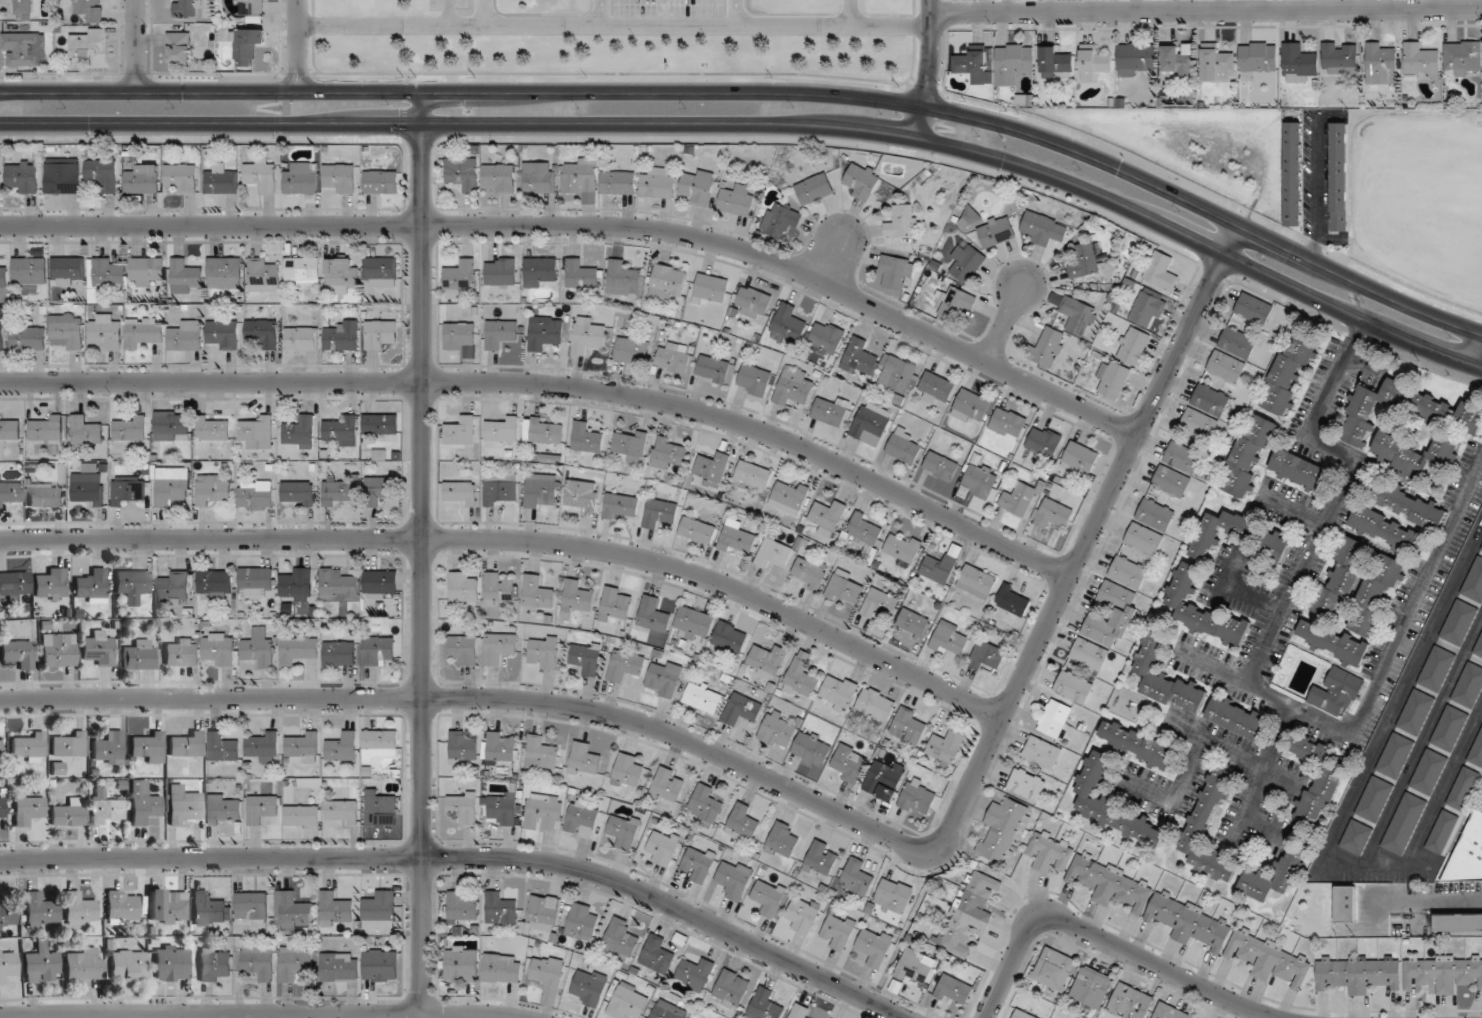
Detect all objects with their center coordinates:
building: (251, 7)
building: (186, 8)
building: (89, 10)
road: (1207, 10)
road: (447, 13)
road: (484, 13)
road: (600, 13)
road: (737, 13)
road: (851, 13)
road: (614, 26)
building: (86, 43)
road: (135, 45)
building: (246, 45)
road: (297, 46)
building: (179, 47)
building: (22, 48)
building: (1258, 56)
building: (1340, 57)
building: (1462, 57)
building: (1137, 59)
building: (1420, 60)
building: (1094, 61)
building: (1055, 62)
building: (1217, 62)
building: (1013, 63)
building: (1298, 63)
building: (976, 64)
building: (1178, 64)
building: (1381, 64)
road: (928, 69)
road: (764, 92)
building: (1025, 99)
road: (764, 125)
building: (1294, 166)
building: (463, 174)
building: (103, 175)
building: (261, 175)
building: (24, 176)
building: (63, 176)
building: (581, 176)
building: (181, 177)
building: (340, 177)
building: (500, 177)
building: (539, 177)
building: (1339, 177)
building: (143, 179)
building: (0, 180)
building: (221, 181)
building: (861, 181)
building: (381, 182)
building: (618, 183)
building: (659, 183)
building: (697, 189)
building: (814, 189)
road: (1316, 189)
road: (598, 193)
building: (737, 201)
building: (781, 219)
building: (902, 222)
road: (589, 225)
building: (1039, 227)
building: (997, 232)
road: (830, 255)
building: (1085, 260)
building: (968, 262)
building: (67, 270)
building: (29, 271)
building: (145, 271)
building: (302, 271)
building: (380, 271)
building: (539, 271)
building: (1162, 271)
building: (224, 272)
building: (500, 272)
building: (897, 272)
building: (104, 275)
building: (263, 275)
building: (341, 275)
building: (581, 275)
building: (184, 276)
building: (459, 278)
building: (3, 279)
building: (624, 279)
building: (667, 282)
building: (710, 287)
building: (752, 302)
building: (958, 302)
building: (1147, 309)
building: (1254, 309)
building: (1078, 316)
road: (1004, 323)
building: (788, 325)
building: (105, 332)
building: (143, 332)
building: (262, 332)
building: (500, 332)
building: (545, 332)
building: (67, 333)
building: (2, 334)
building: (223, 334)
building: (380, 334)
building: (186, 336)
building: (342, 336)
building: (459, 336)
building: (587, 336)
building: (827, 337)
building: (28, 338)
building: (302, 338)
building: (1238, 342)
building: (1132, 346)
building: (1049, 347)
building: (631, 351)
road: (1478, 351)
building: (674, 358)
building: (1226, 367)
building: (882, 368)
building: (713, 369)
building: (1289, 372)
building: (1113, 378)
building: (754, 380)
road: (552, 384)
building: (793, 387)
building: (936, 387)
building: (1210, 400)
building: (972, 404)
building: (1370, 410)
building: (830, 411)
building: (1449, 414)
building: (871, 423)
building: (1008, 423)
building: (380, 424)
building: (1199, 424)
building: (171, 428)
building: (213, 429)
building: (10, 430)
building: (131, 430)
building: (503, 430)
building: (47, 431)
building: (341, 431)
building: (546, 431)
building: (87, 432)
building: (258, 432)
building: (461, 432)
building: (300, 433)
building: (586, 438)
building: (1044, 442)
building: (904, 446)
building: (667, 453)
building: (1249, 454)
building: (1414, 454)
building: (1183, 457)
building: (1081, 458)
building: (940, 466)
building: (712, 470)
building: (1297, 470)
building: (754, 474)
building: (979, 480)
building: (1171, 481)
building: (172, 485)
building: (86, 487)
building: (501, 489)
building: (127, 490)
building: (378, 490)
building: (213, 491)
building: (340, 491)
building: (543, 491)
road: (1343, 492)
building: (10, 493)
building: (460, 493)
building: (297, 494)
building: (255, 495)
building: (582, 495)
building: (45, 496)
building: (789, 496)
building: (1020, 499)
building: (1408, 505)
building: (620, 506)
road: (1290, 506)
building: (659, 513)
building: (1053, 514)
building: (1156, 514)
building: (827, 517)
building: (1386, 530)
building: (697, 531)
building: (864, 532)
building: (1240, 537)
building: (737, 538)
building: (1144, 539)
road: (517, 540)
building: (903, 548)
building: (1481, 550)
road: (422, 552)
building: (773, 554)
building: (940, 569)
building: (809, 572)
building: (1128, 572)
road: (1229, 577)
building: (256, 580)
building: (1342, 580)
building: (977, 582)
building: (1474, 582)
building: (14, 584)
building: (50, 584)
building: (216, 584)
building: (380, 584)
building: (92, 585)
building: (132, 585)
building: (296, 585)
building: (174, 588)
building: (463, 588)
building: (845, 588)
building: (498, 589)
building: (536, 594)
building: (1376, 596)
road: (1416, 596)
building: (577, 597)
road: (1252, 598)
building: (1014, 600)
building: (880, 603)
building: (615, 605)
building: (1126, 610)
building: (1201, 610)
building: (654, 615)
building: (1459, 622)
building: (693, 623)
building: (912, 623)
building: (729, 637)
building: (949, 639)
building: (1334, 643)
building: (464, 647)
building: (500, 647)
building: (220, 648)
building: (298, 648)
building: (1478, 648)
building: (99, 649)
building: (259, 649)
building: (58, 650)
building: (378, 650)
building: (182, 652)
building: (543, 652)
building: (18, 653)
building: (339, 653)
building: (1089, 654)
building: (140, 655)
building: (987, 655)
building: (586, 657)
building: (766, 662)
building: (625, 666)
building: (1437, 669)
building: (801, 677)
building: (1166, 677)
building: (664, 679)
building: (1469, 686)
building: (1073, 687)
building: (838, 692)
road: (1264, 692)
building: (1337, 694)
building: (703, 697)
building: (876, 704)
building: (741, 710)
building: (1416, 712)
building: (1236, 718)
building: (1056, 719)
building: (908, 726)
building: (1450, 729)
building: (778, 730)
building: (1138, 744)
building: (68, 745)
building: (186, 745)
building: (380, 745)
road: (1199, 745)
building: (264, 746)
building: (303, 746)
building: (945, 747)
building: (28, 748)
building: (108, 748)
building: (149, 748)
building: (223, 748)
building: (342, 748)
building: (499, 748)
building: (463, 749)
building: (812, 749)
building: (0, 753)
building: (1042, 753)
building: (541, 755)
building: (1395, 756)
building: (584, 760)
building: (848, 763)
building: (627, 771)
building: (1429, 772)
road: (1260, 774)
building: (884, 779)
building: (1328, 780)
building: (667, 784)
building: (1027, 785)
building: (1463, 788)
building: (1089, 796)
building: (918, 797)
road: (810, 799)
building: (1375, 799)
building: (145, 804)
building: (705, 805)
building: (2, 806)
building: (183, 806)
building: (106, 807)
building: (378, 807)
building: (463, 807)
building: (223, 808)
building: (262, 809)
building: (502, 809)
building: (28, 810)
building: (545, 811)
building: (341, 812)
building: (69, 813)
building: (302, 815)
building: (581, 818)
building: (742, 821)
building: (1404, 824)
building: (1208, 829)
building: (623, 830)
road: (1264, 830)
building: (1005, 831)
building: (1442, 832)
building: (1356, 838)
building: (782, 841)
building: (663, 846)
building: (1050, 852)
building: (1468, 853)
road: (469, 858)
building: (824, 861)
building: (697, 864)
building: (1287, 873)
building: (857, 877)
building: (734, 879)
building: (768, 896)
building: (893, 896)
road: (1395, 899)
building: (1151, 903)
building: (1346, 904)
building: (168, 906)
building: (251, 906)
building: (122, 907)
building: (211, 908)
building: (500, 908)
building: (79, 909)
building: (334, 909)
building: (462, 909)
building: (380, 910)
building: (41, 911)
building: (292, 911)
building: (541, 912)
building: (968, 913)
building: (803, 914)
building: (7, 917)
building: (582, 922)
building: (1458, 922)
building: (838, 931)
building: (621, 939)
road: (1106, 942)
building: (875, 946)
building: (657, 955)
building: (1269, 958)
building: (258, 961)
building: (42, 963)
building: (172, 963)
building: (295, 963)
building: (212, 964)
building: (462, 964)
building: (8, 965)
building: (83, 965)
building: (128, 965)
building: (381, 965)
building: (340, 967)
building: (913, 968)
building: (502, 969)
building: (1054, 969)
building: (1443, 972)
building: (1359, 973)
building: (695, 974)
building: (548, 978)
building: (590, 986)
building: (1092, 987)
building: (733, 989)
building: (954, 991)
building: (628, 1001)
building: (1130, 1003)
building: (765, 1005)
building: (668, 1010)
building: (1169, 1011)
building: (801, 1012)
road: (258, 1013)
building: (1023, 1014)
building: (693, 1017)

